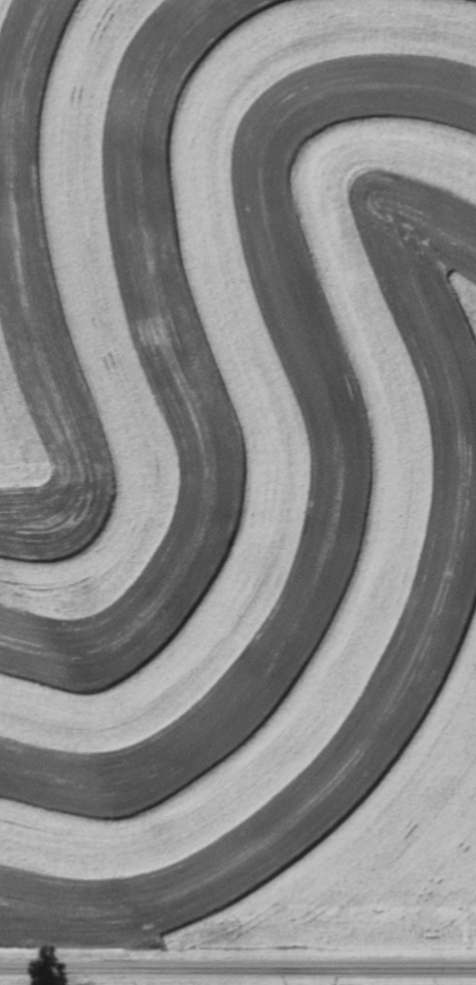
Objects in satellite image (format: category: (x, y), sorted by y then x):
road: (237, 971)
road: (61, 978)

